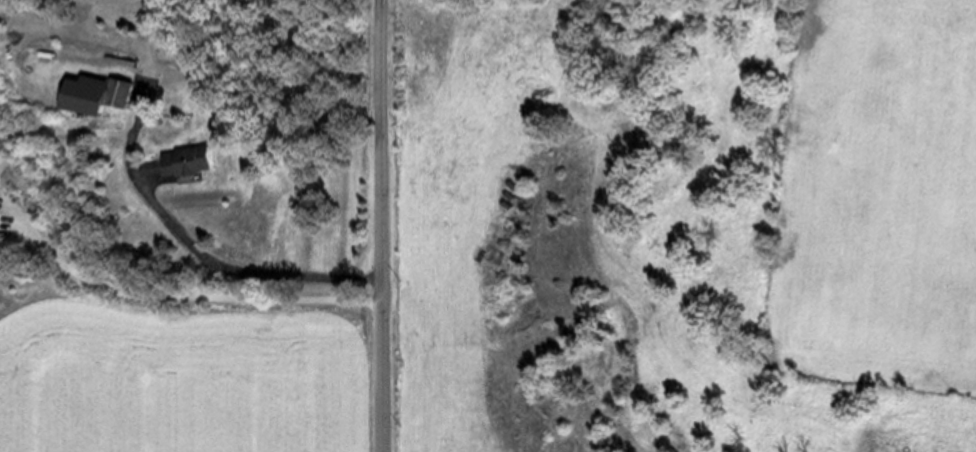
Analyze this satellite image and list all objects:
building: (103, 93)
building: (195, 163)
crop: (878, 200)
building: (0, 212)
road: (170, 220)
road: (382, 225)
road: (175, 292)

